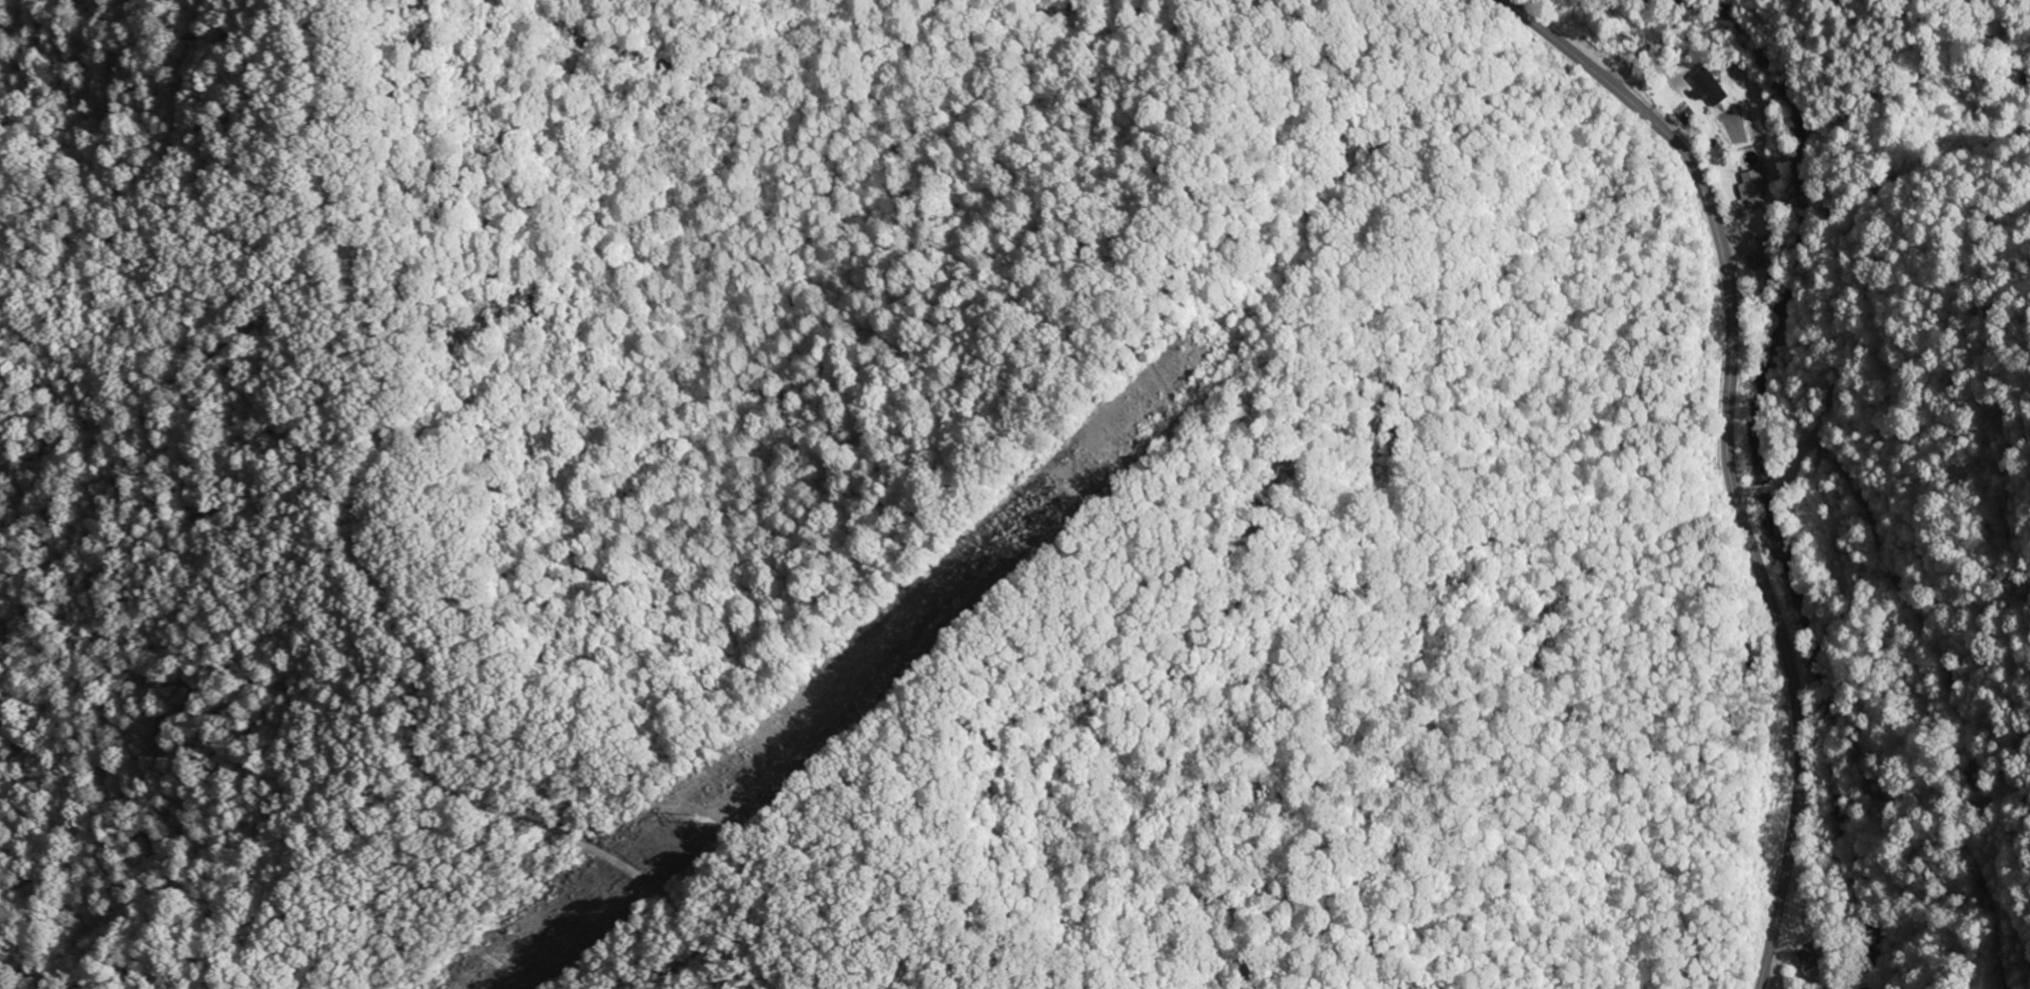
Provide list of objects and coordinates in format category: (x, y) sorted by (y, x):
building: (1754, 188)
road: (1855, 231)
building: (1767, 258)
road: (1717, 431)
road: (1793, 461)
road: (1762, 490)
road: (1736, 497)
road: (1959, 696)
building: (1812, 956)
road: (1776, 959)

